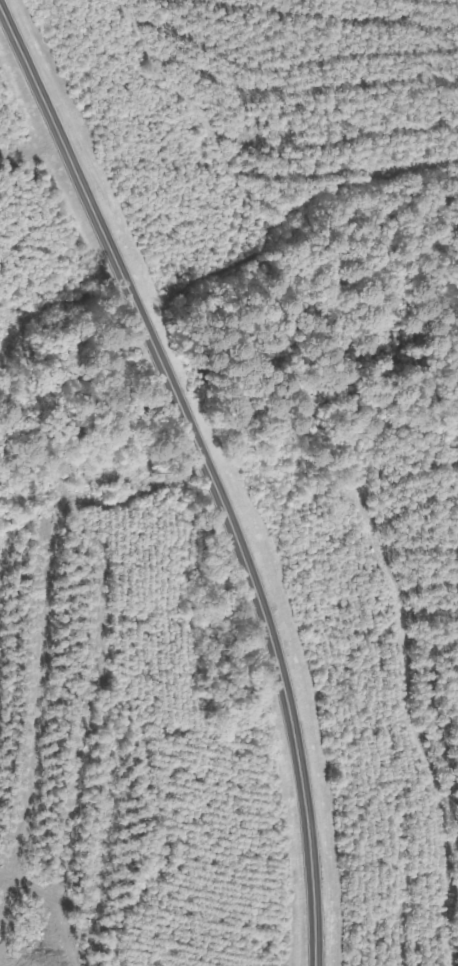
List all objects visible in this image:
road: (206, 475)

